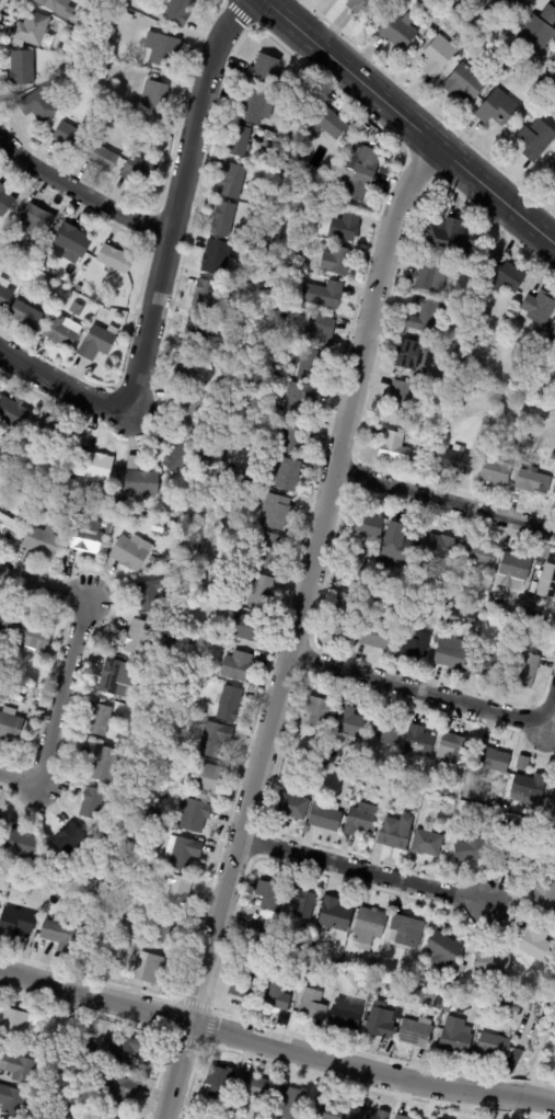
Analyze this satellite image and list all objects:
building: (126, 0)
building: (103, 3)
building: (514, 4)
building: (367, 5)
building: (57, 7)
building: (180, 10)
building: (431, 11)
building: (99, 13)
building: (456, 14)
building: (112, 18)
building: (31, 28)
building: (539, 30)
building: (398, 31)
building: (470, 41)
building: (161, 48)
building: (436, 54)
building: (36, 56)
building: (552, 57)
building: (500, 65)
building: (21, 67)
building: (264, 68)
building: (62, 70)
road: (350, 73)
building: (548, 80)
building: (73, 83)
building: (464, 83)
building: (153, 99)
building: (548, 99)
building: (108, 101)
building: (38, 105)
building: (252, 105)
building: (497, 109)
building: (108, 116)
building: (329, 122)
building: (70, 136)
building: (146, 137)
building: (536, 139)
building: (239, 141)
building: (101, 157)
building: (553, 165)
building: (359, 170)
building: (138, 172)
building: (231, 181)
building: (554, 182)
road: (80, 192)
road: (495, 195)
building: (4, 201)
building: (223, 218)
building: (33, 219)
building: (345, 228)
building: (449, 239)
building: (72, 240)
building: (284, 251)
building: (19, 253)
building: (31, 254)
building: (359, 255)
building: (217, 258)
building: (115, 259)
building: (336, 261)
building: (286, 262)
building: (302, 263)
road: (161, 270)
building: (285, 274)
building: (427, 275)
building: (505, 276)
building: (274, 286)
building: (24, 287)
building: (78, 288)
building: (4, 294)
building: (67, 294)
building: (323, 295)
building: (208, 296)
building: (536, 308)
building: (104, 313)
building: (26, 315)
building: (284, 315)
building: (427, 316)
building: (320, 331)
building: (536, 331)
building: (197, 332)
building: (60, 333)
building: (553, 333)
building: (96, 343)
building: (466, 346)
building: (413, 355)
building: (310, 365)
building: (475, 365)
building: (185, 370)
building: (462, 376)
building: (440, 377)
building: (400, 396)
building: (298, 398)
building: (193, 411)
building: (12, 413)
building: (51, 433)
building: (290, 437)
building: (518, 443)
building: (438, 444)
building: (204, 446)
building: (395, 446)
building: (437, 450)
building: (553, 456)
building: (182, 457)
building: (458, 461)
building: (94, 467)
building: (232, 470)
building: (495, 471)
building: (288, 476)
building: (531, 481)
building: (141, 484)
building: (554, 490)
building: (63, 491)
building: (88, 496)
building: (195, 496)
road: (444, 500)
building: (113, 502)
building: (257, 506)
building: (76, 507)
building: (276, 513)
building: (367, 525)
building: (8, 528)
building: (158, 528)
building: (85, 538)
building: (42, 541)
building: (396, 544)
building: (440, 544)
building: (267, 550)
building: (478, 552)
building: (132, 555)
building: (537, 564)
building: (514, 567)
building: (171, 569)
building: (547, 581)
building: (366, 582)
building: (533, 587)
building: (435, 590)
building: (258, 593)
building: (149, 596)
building: (439, 602)
building: (342, 616)
building: (458, 616)
building: (7, 623)
building: (245, 628)
road: (294, 628)
building: (523, 631)
building: (375, 635)
building: (34, 639)
building: (141, 639)
building: (416, 642)
building: (188, 652)
building: (451, 652)
road: (67, 665)
building: (492, 665)
building: (235, 666)
building: (525, 669)
building: (143, 676)
building: (116, 680)
building: (3, 692)
road: (428, 694)
building: (229, 705)
building: (315, 711)
building: (137, 715)
building: (99, 720)
building: (349, 721)
building: (10, 726)
building: (386, 728)
building: (213, 740)
building: (418, 740)
building: (453, 749)
building: (160, 760)
building: (492, 760)
building: (523, 764)
building: (103, 766)
building: (158, 767)
building: (207, 780)
building: (530, 786)
building: (444, 788)
building: (395, 792)
building: (93, 804)
building: (293, 807)
building: (452, 807)
building: (325, 815)
building: (194, 817)
building: (361, 818)
building: (0, 819)
building: (155, 821)
building: (521, 821)
building: (393, 833)
building: (68, 841)
building: (426, 842)
building: (20, 846)
building: (472, 847)
building: (183, 853)
building: (519, 854)
road: (362, 870)
building: (33, 884)
building: (175, 893)
building: (269, 895)
building: (545, 898)
building: (84, 902)
building: (303, 902)
building: (335, 914)
building: (268, 915)
building: (16, 924)
building: (268, 925)
building: (369, 927)
building: (407, 930)
building: (170, 932)
building: (58, 935)
building: (535, 943)
building: (115, 946)
building: (125, 946)
building: (263, 947)
building: (442, 950)
building: (284, 951)
building: (293, 955)
building: (492, 962)
building: (312, 963)
building: (371, 963)
building: (329, 968)
building: (152, 970)
building: (367, 975)
building: (421, 978)
building: (243, 985)
building: (400, 987)
building: (459, 989)
building: (375, 994)
building: (431, 994)
building: (276, 995)
building: (419, 996)
building: (312, 1005)
building: (514, 1007)
building: (396, 1009)
building: (446, 1009)
building: (345, 1015)
building: (378, 1020)
building: (19, 1023)
building: (413, 1030)
building: (454, 1034)
road: (245, 1038)
building: (494, 1044)
building: (84, 1047)
building: (125, 1050)
building: (36, 1054)
building: (16, 1067)
building: (218, 1082)
building: (252, 1086)
building: (115, 1091)
road: (506, 1094)
road: (536, 1098)
building: (11, 1100)
building: (291, 1103)
building: (325, 1109)
building: (74, 1112)
building: (199, 1115)
building: (371, 1115)
building: (104, 1117)
building: (402, 1117)
building: (211, 1118)

